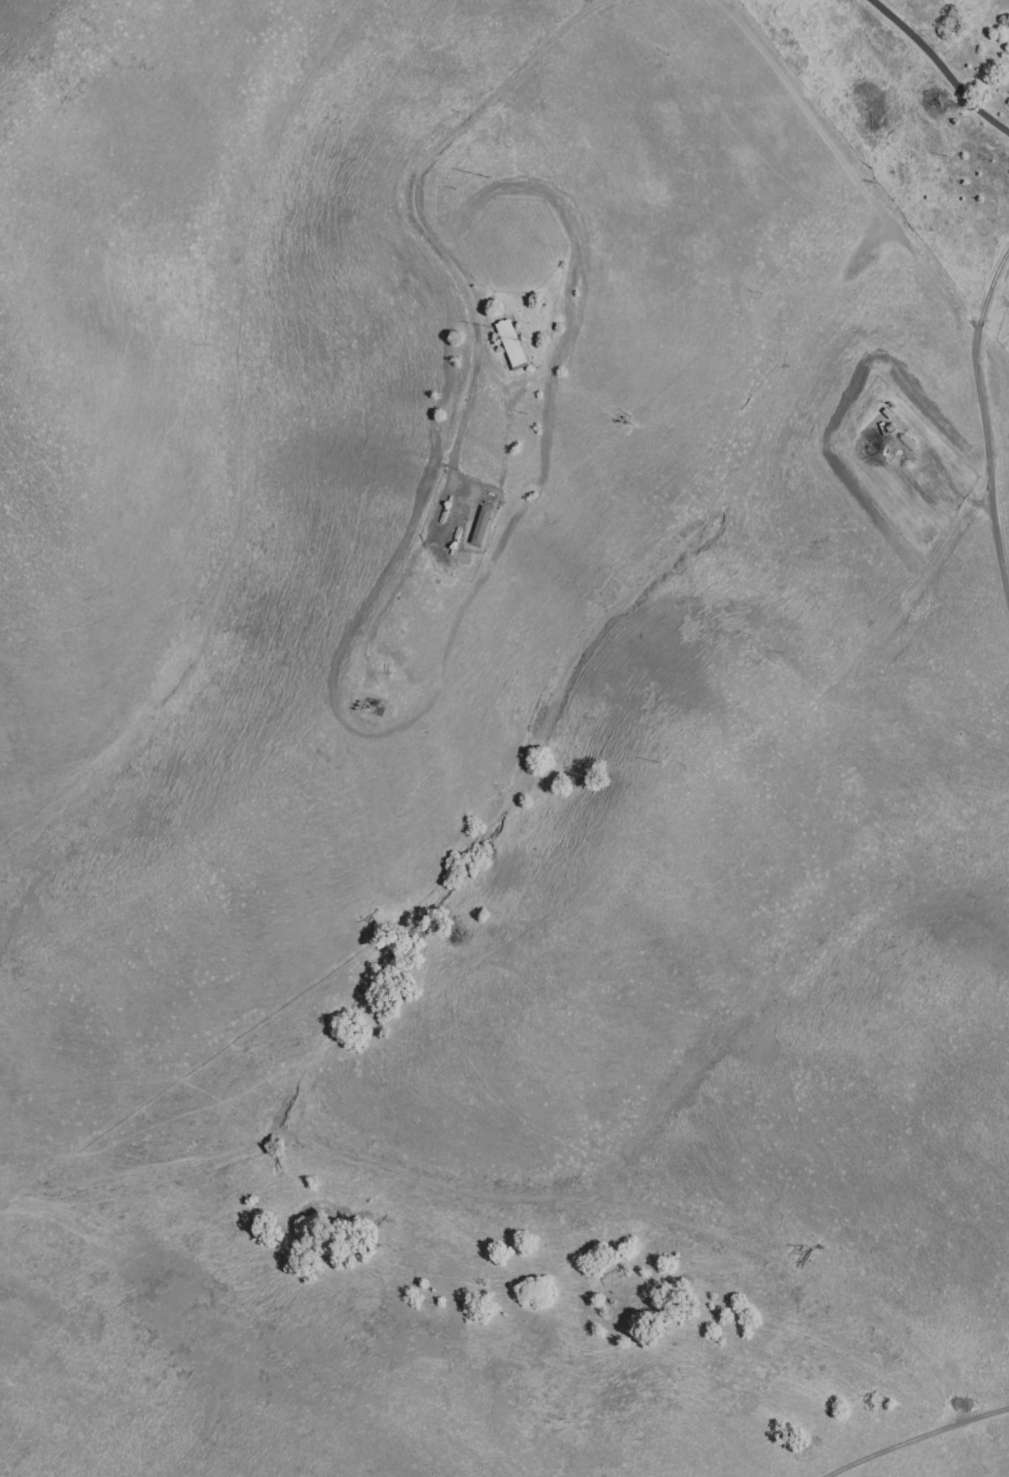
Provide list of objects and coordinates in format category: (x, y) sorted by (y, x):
road: (940, 65)
road: (855, 171)
road: (413, 208)
building: (512, 342)
building: (889, 416)
road: (985, 425)
building: (910, 445)
building: (912, 460)
road: (968, 501)
building: (482, 527)
road: (919, 1439)

